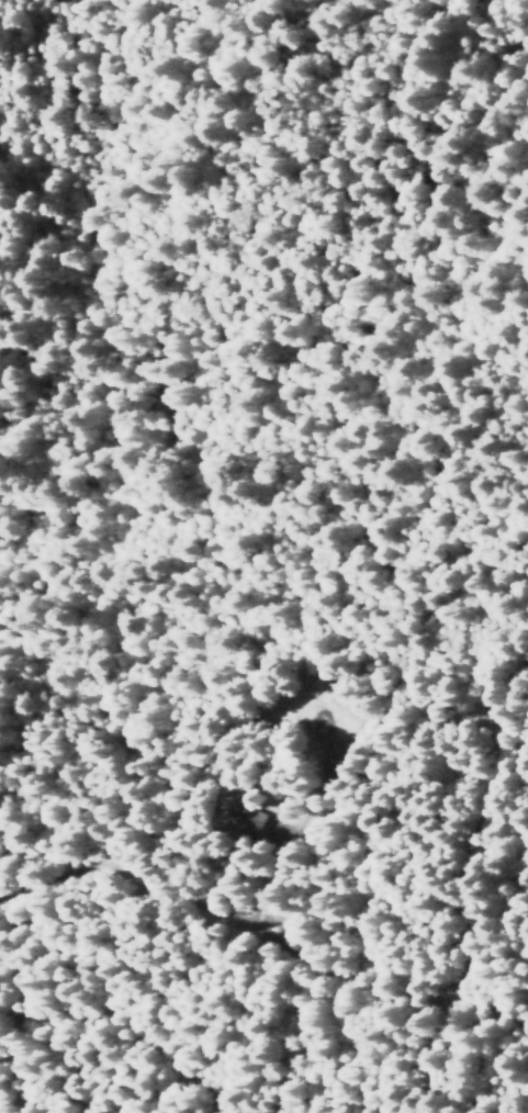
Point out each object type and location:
building: (254, 819)

